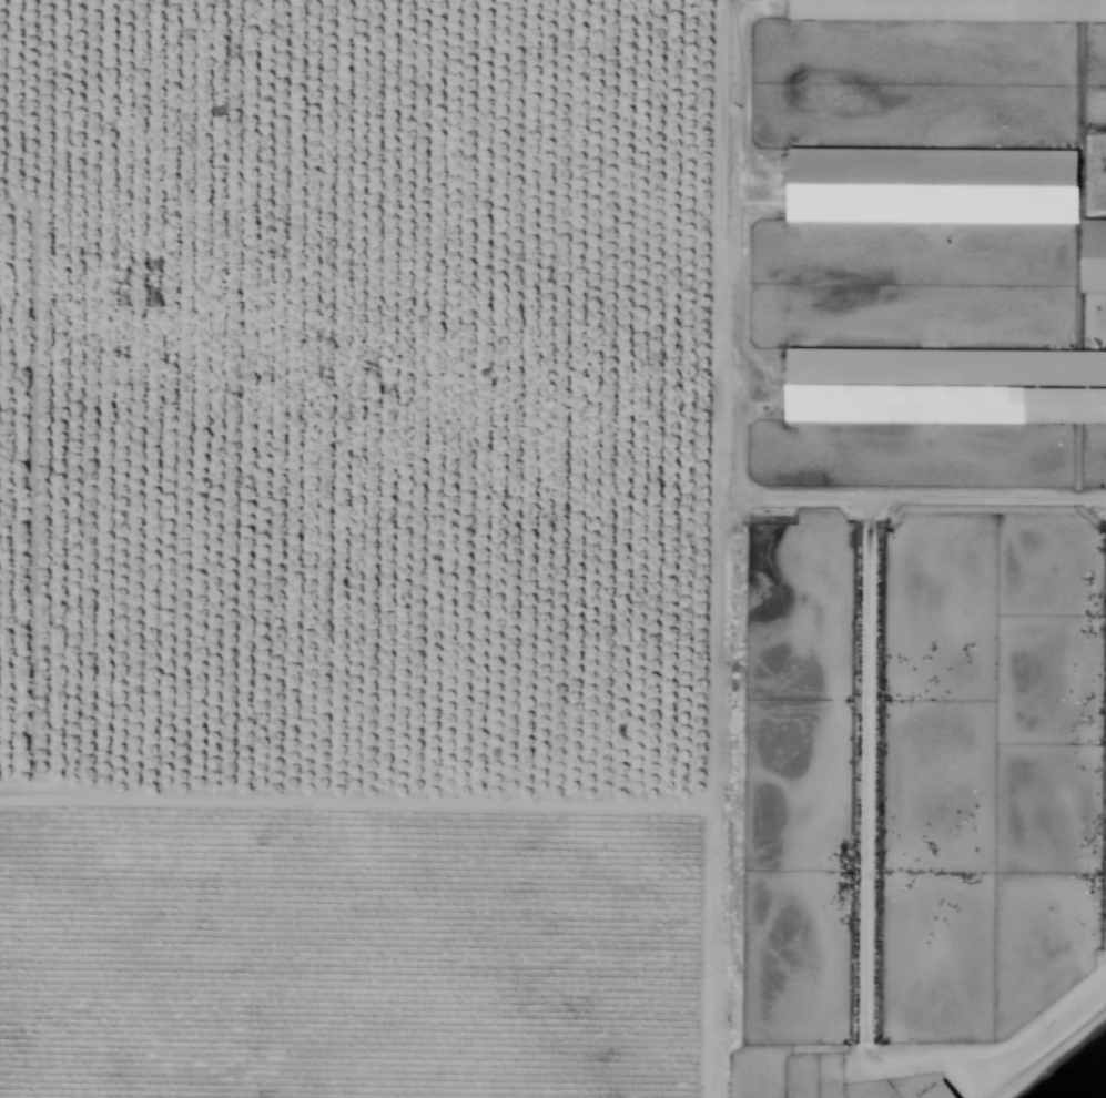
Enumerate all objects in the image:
building: (952, 10)
building: (935, 185)
building: (1096, 256)
building: (947, 386)
crop: (361, 550)
building: (943, 1091)

